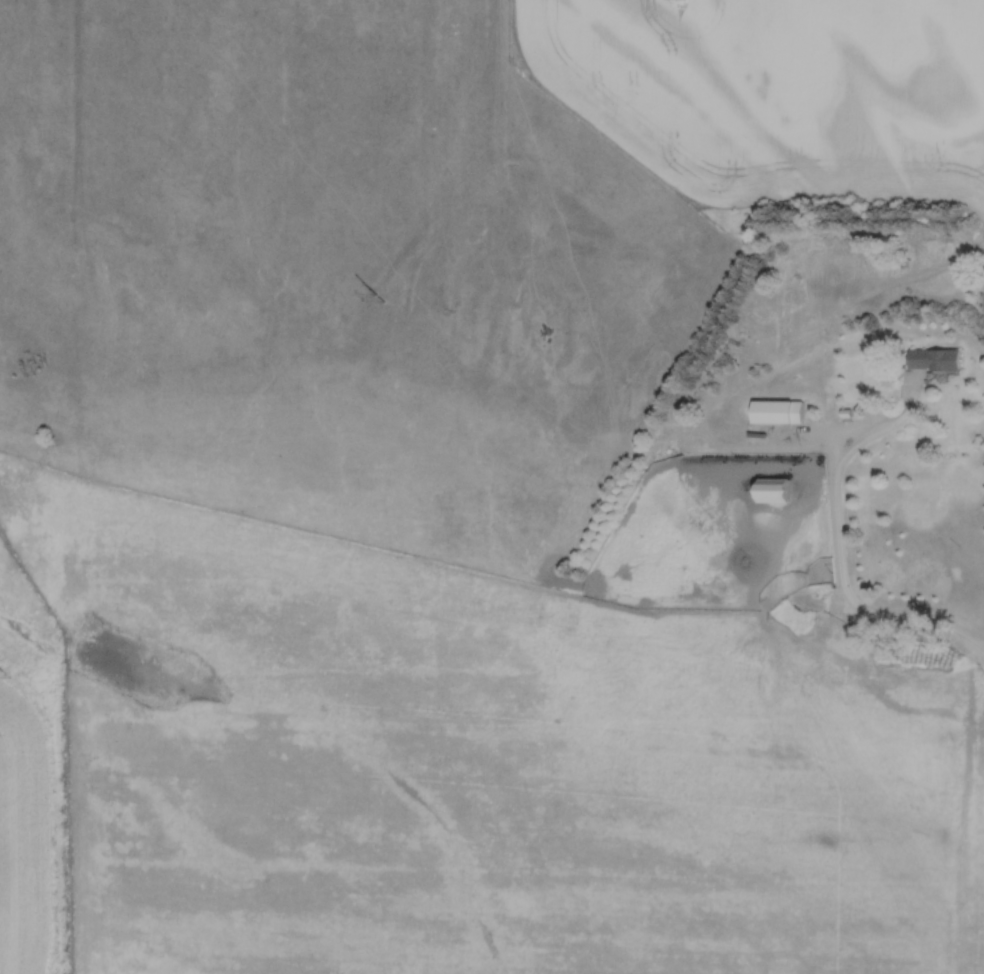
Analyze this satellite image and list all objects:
power tower: (371, 291)
building: (934, 360)
building: (777, 413)
road: (804, 443)
building: (772, 492)
road: (839, 545)
power tower: (9, 676)

